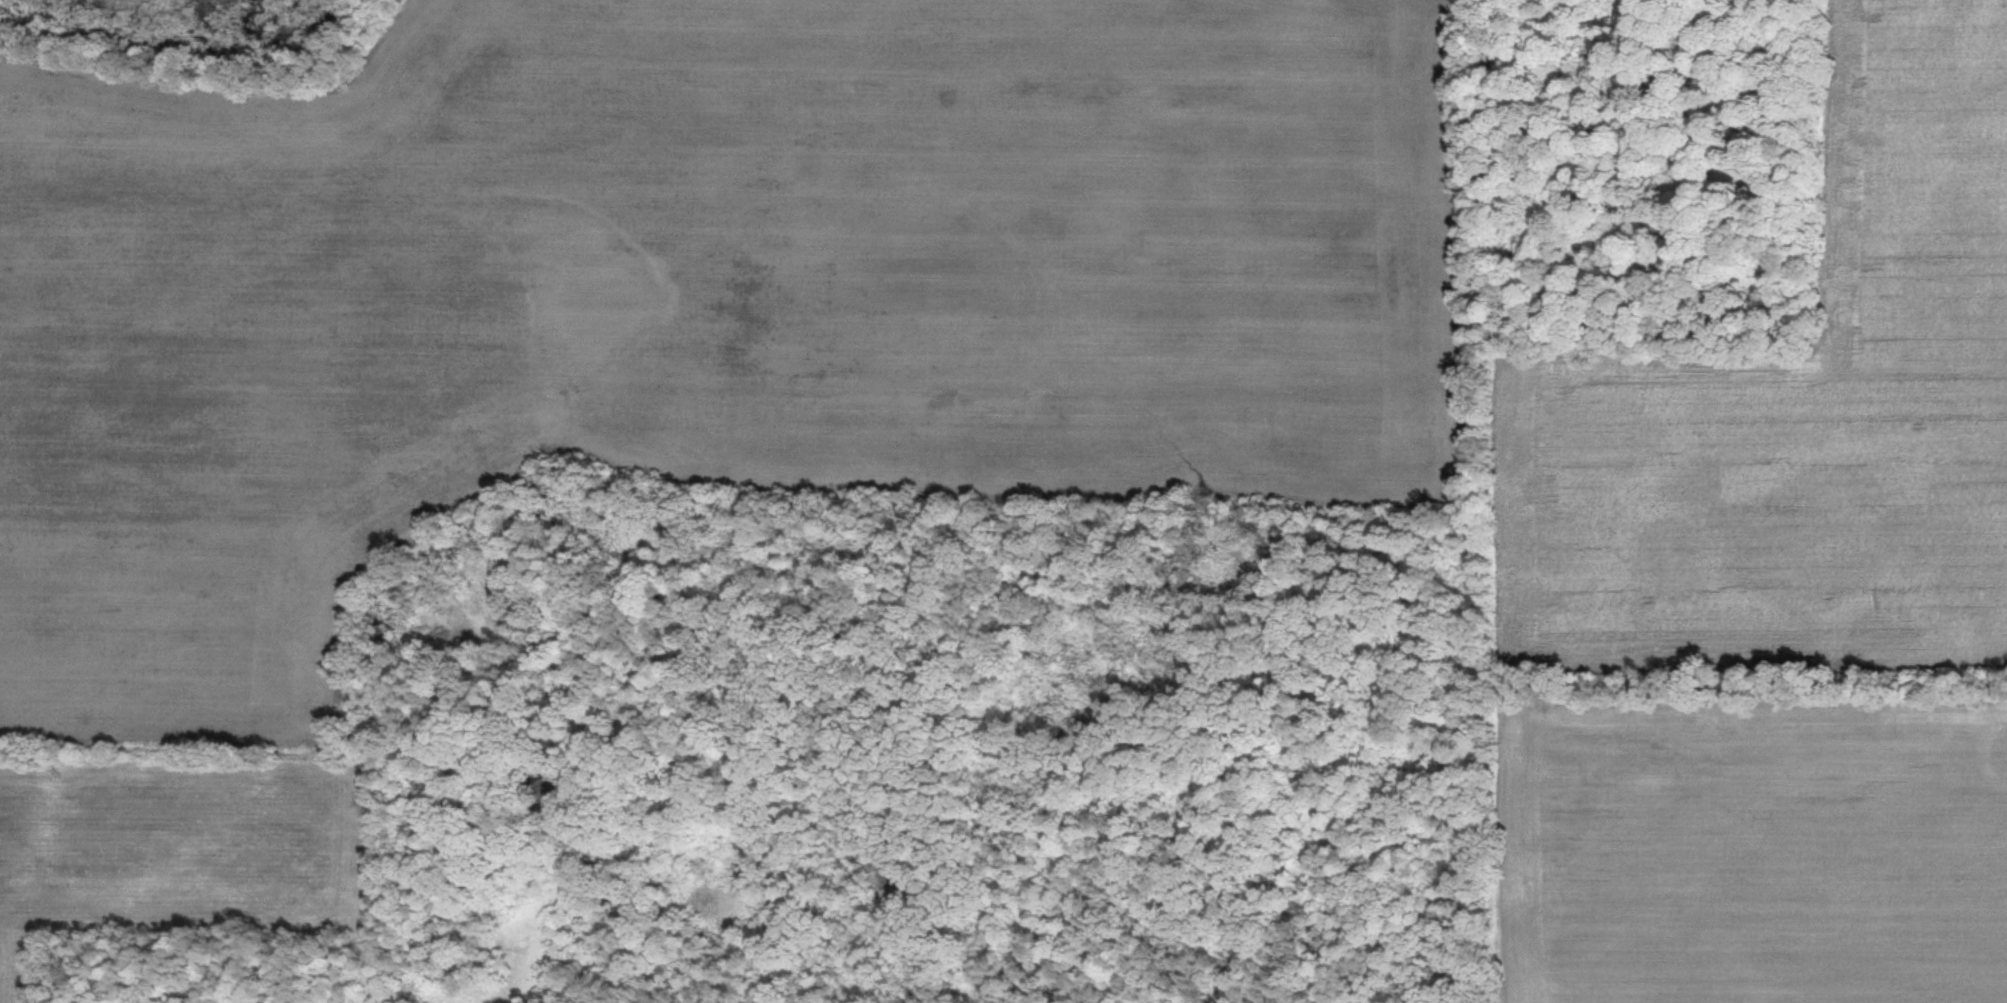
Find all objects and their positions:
crop: (695, 295)
crop: (1799, 414)
crop: (1755, 854)

